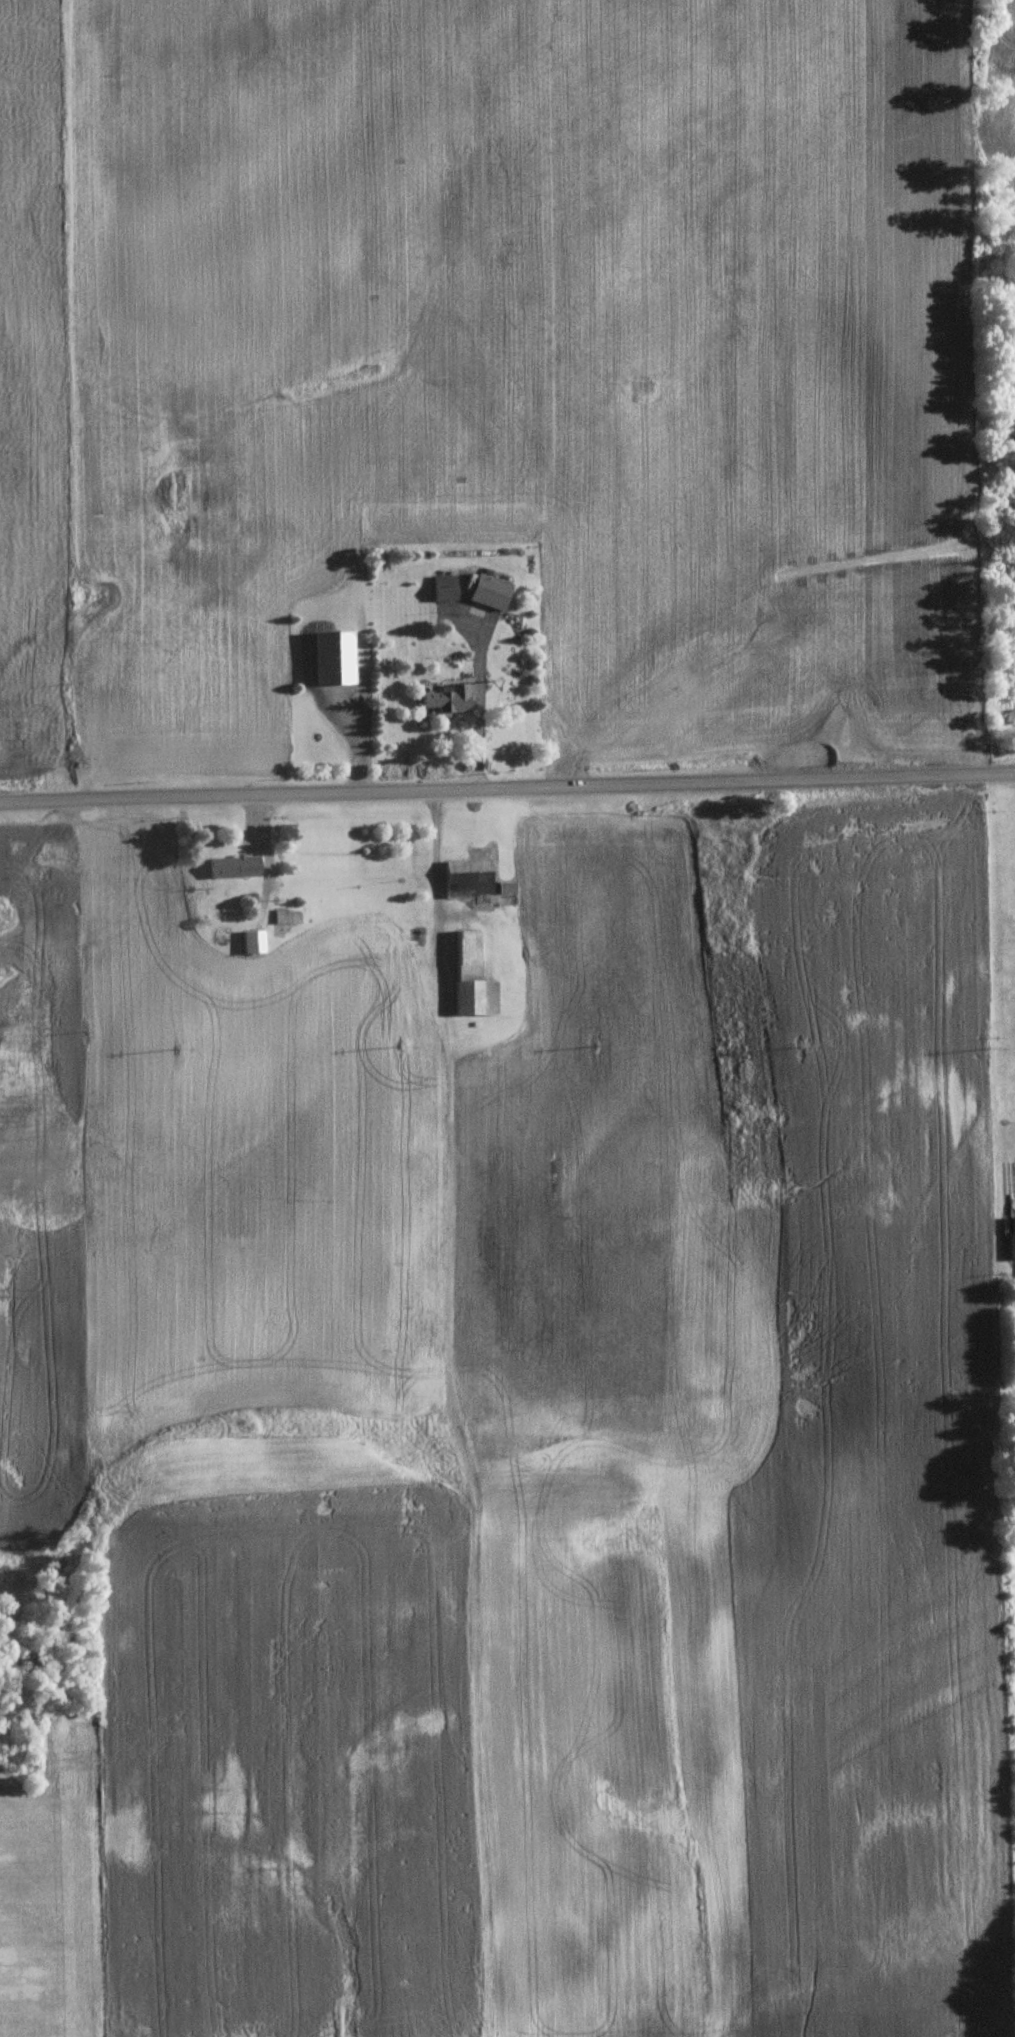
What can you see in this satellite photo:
building: (445, 586)
building: (489, 590)
building: (334, 655)
building: (449, 696)
building: (1009, 715)
road: (507, 788)
building: (234, 865)
building: (467, 876)
building: (506, 886)
building: (286, 915)
building: (253, 940)
building: (472, 976)
building: (1010, 1229)

